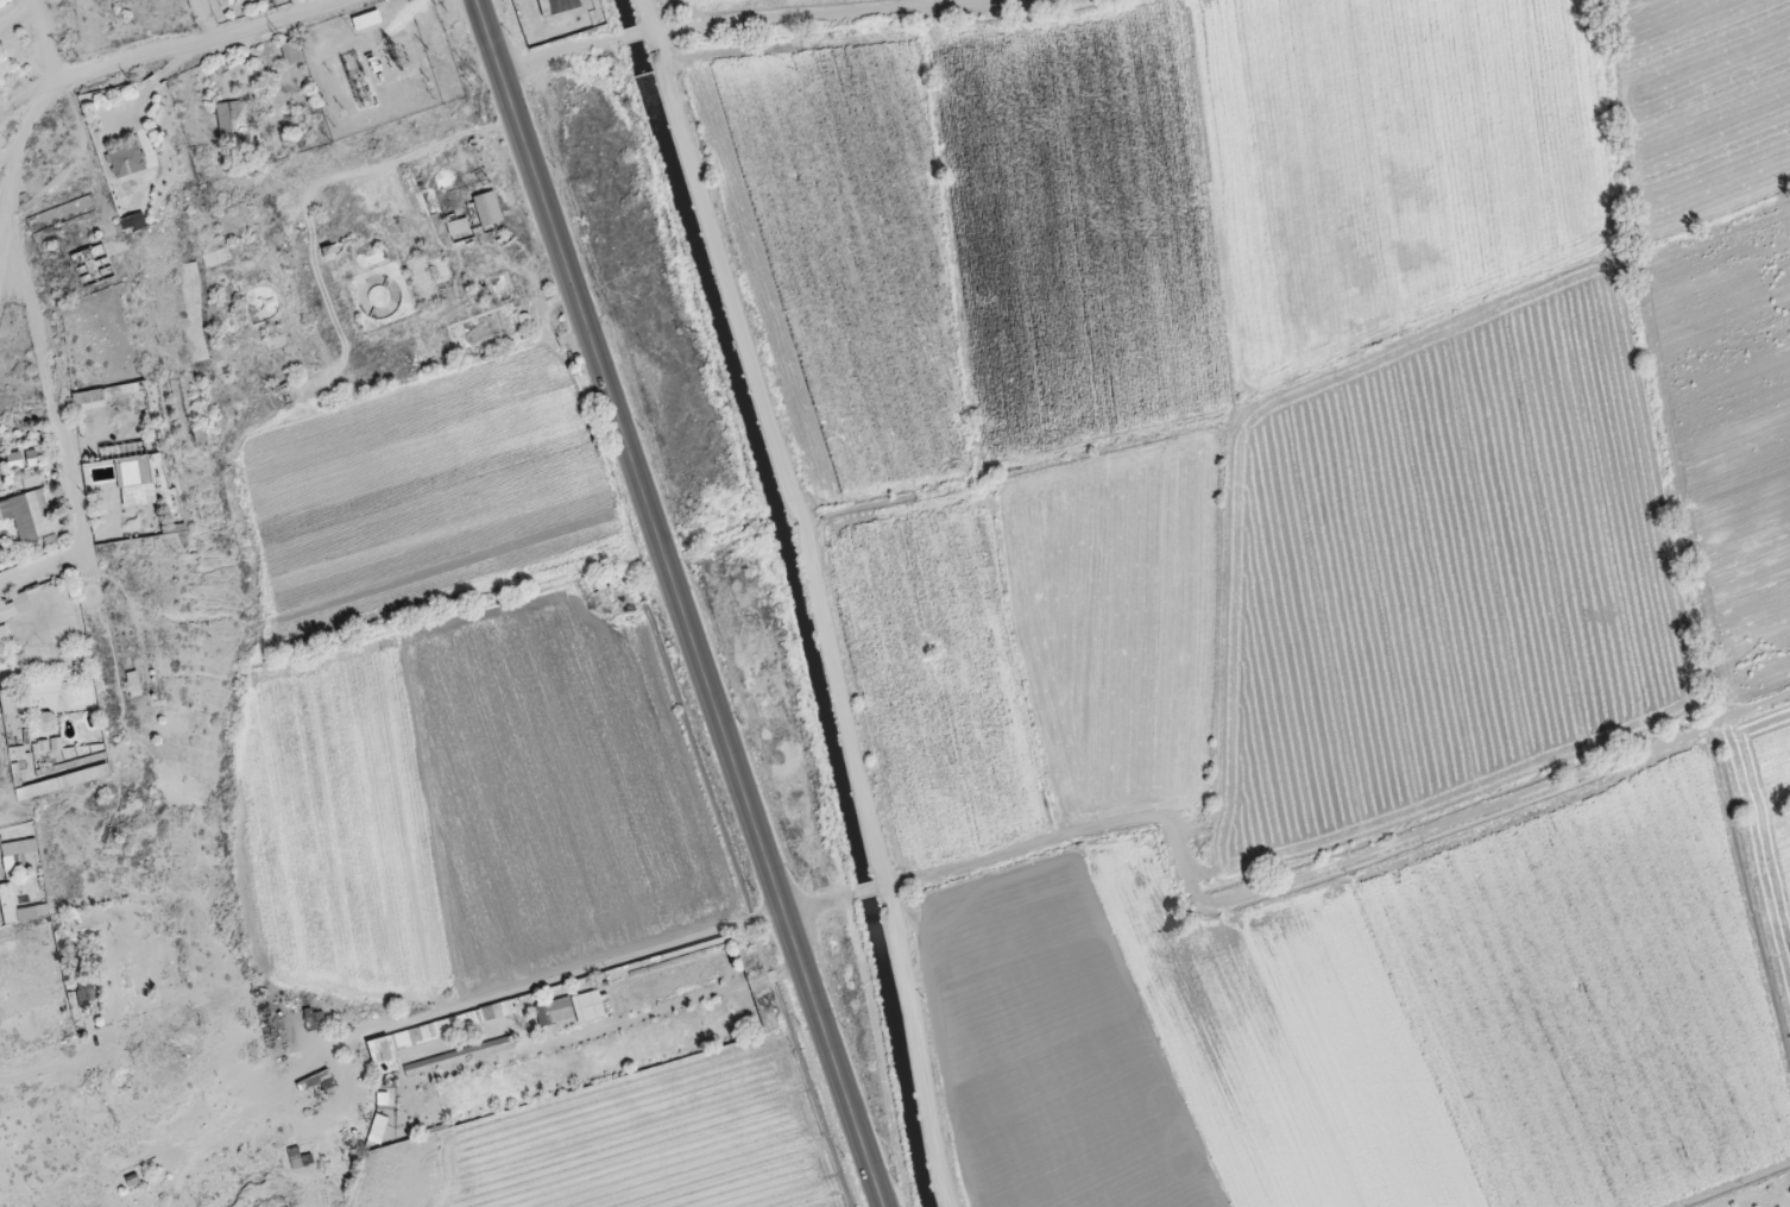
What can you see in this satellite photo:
road: (809, 13)

